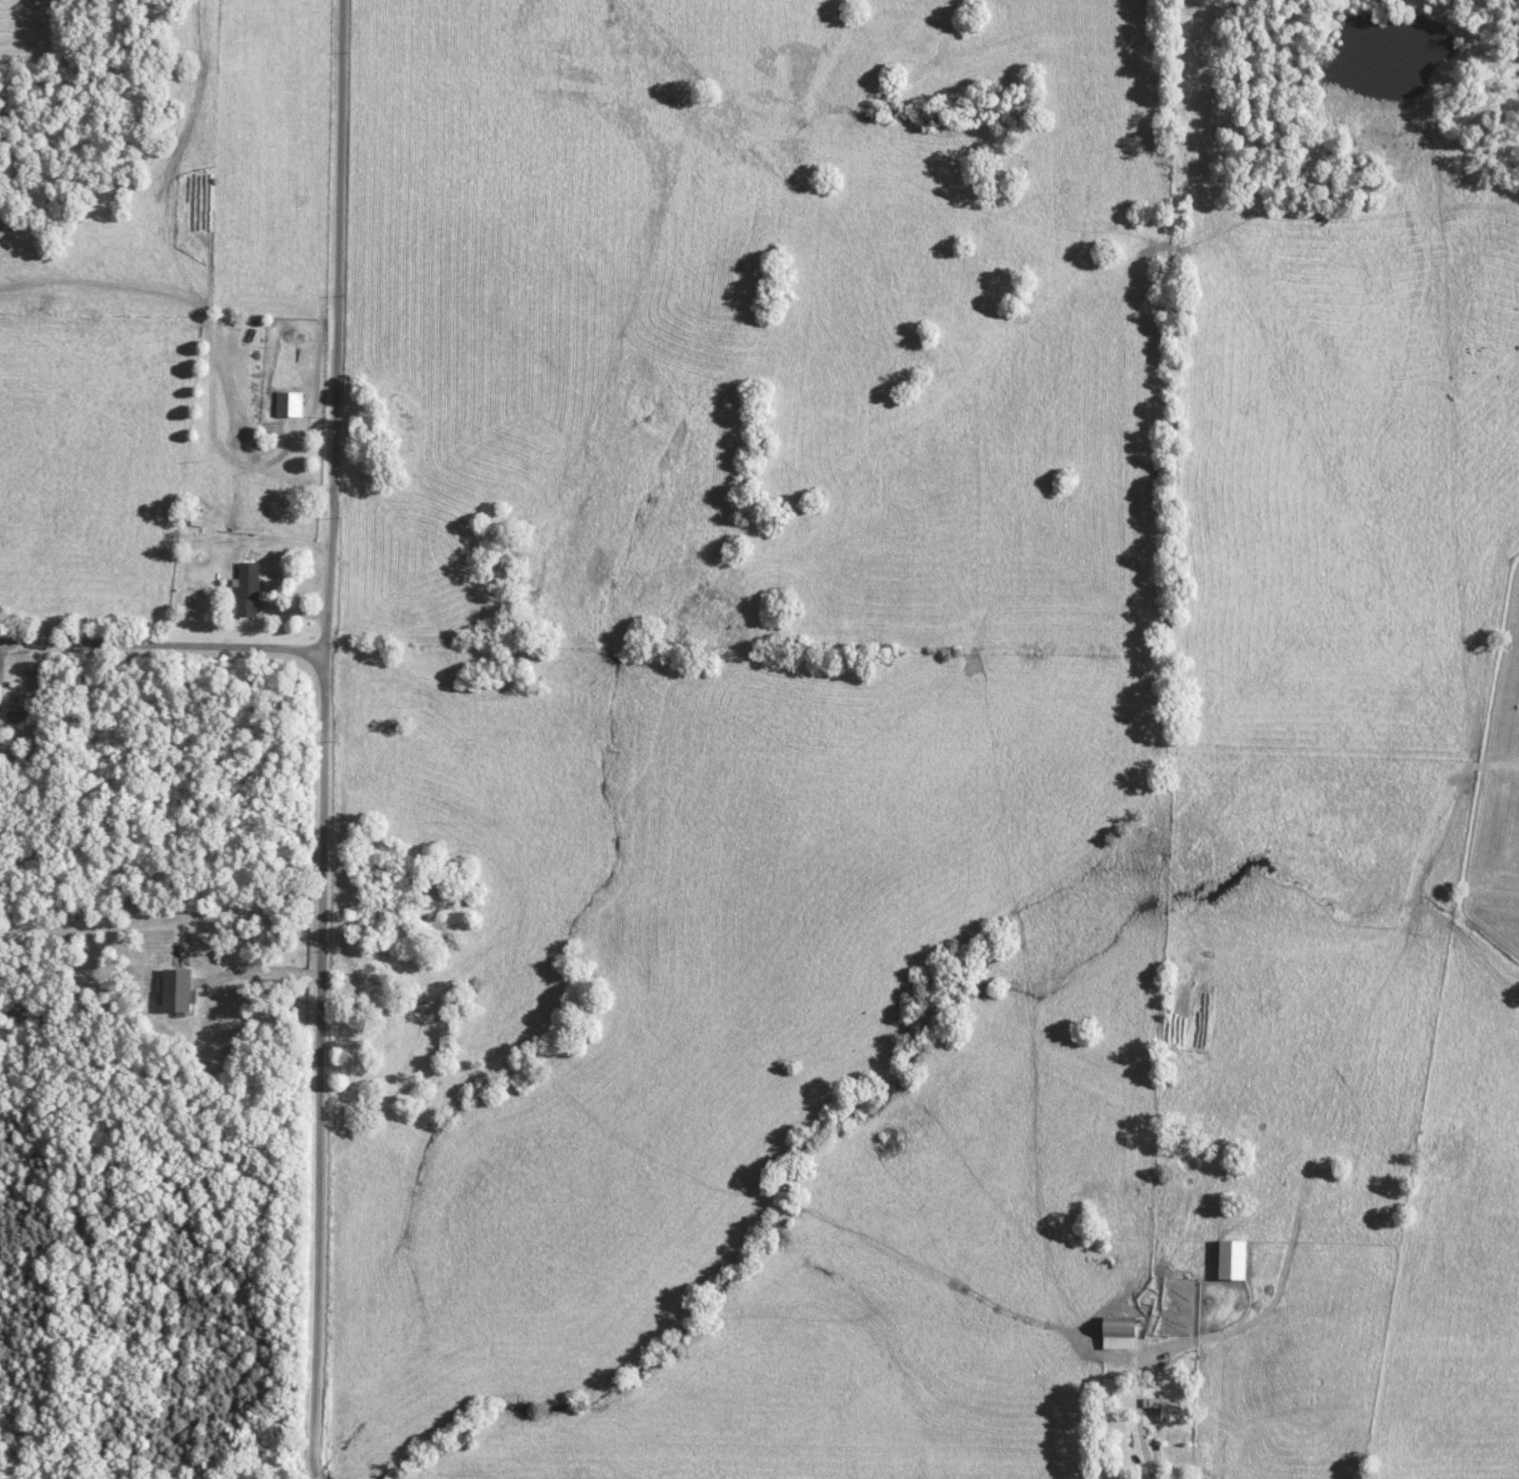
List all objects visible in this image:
building: (288, 405)
building: (245, 588)
road: (164, 647)
road: (328, 734)
building: (173, 990)
building: (1116, 1333)
building: (1162, 1408)
road: (1141, 1433)
road: (315, 1474)

